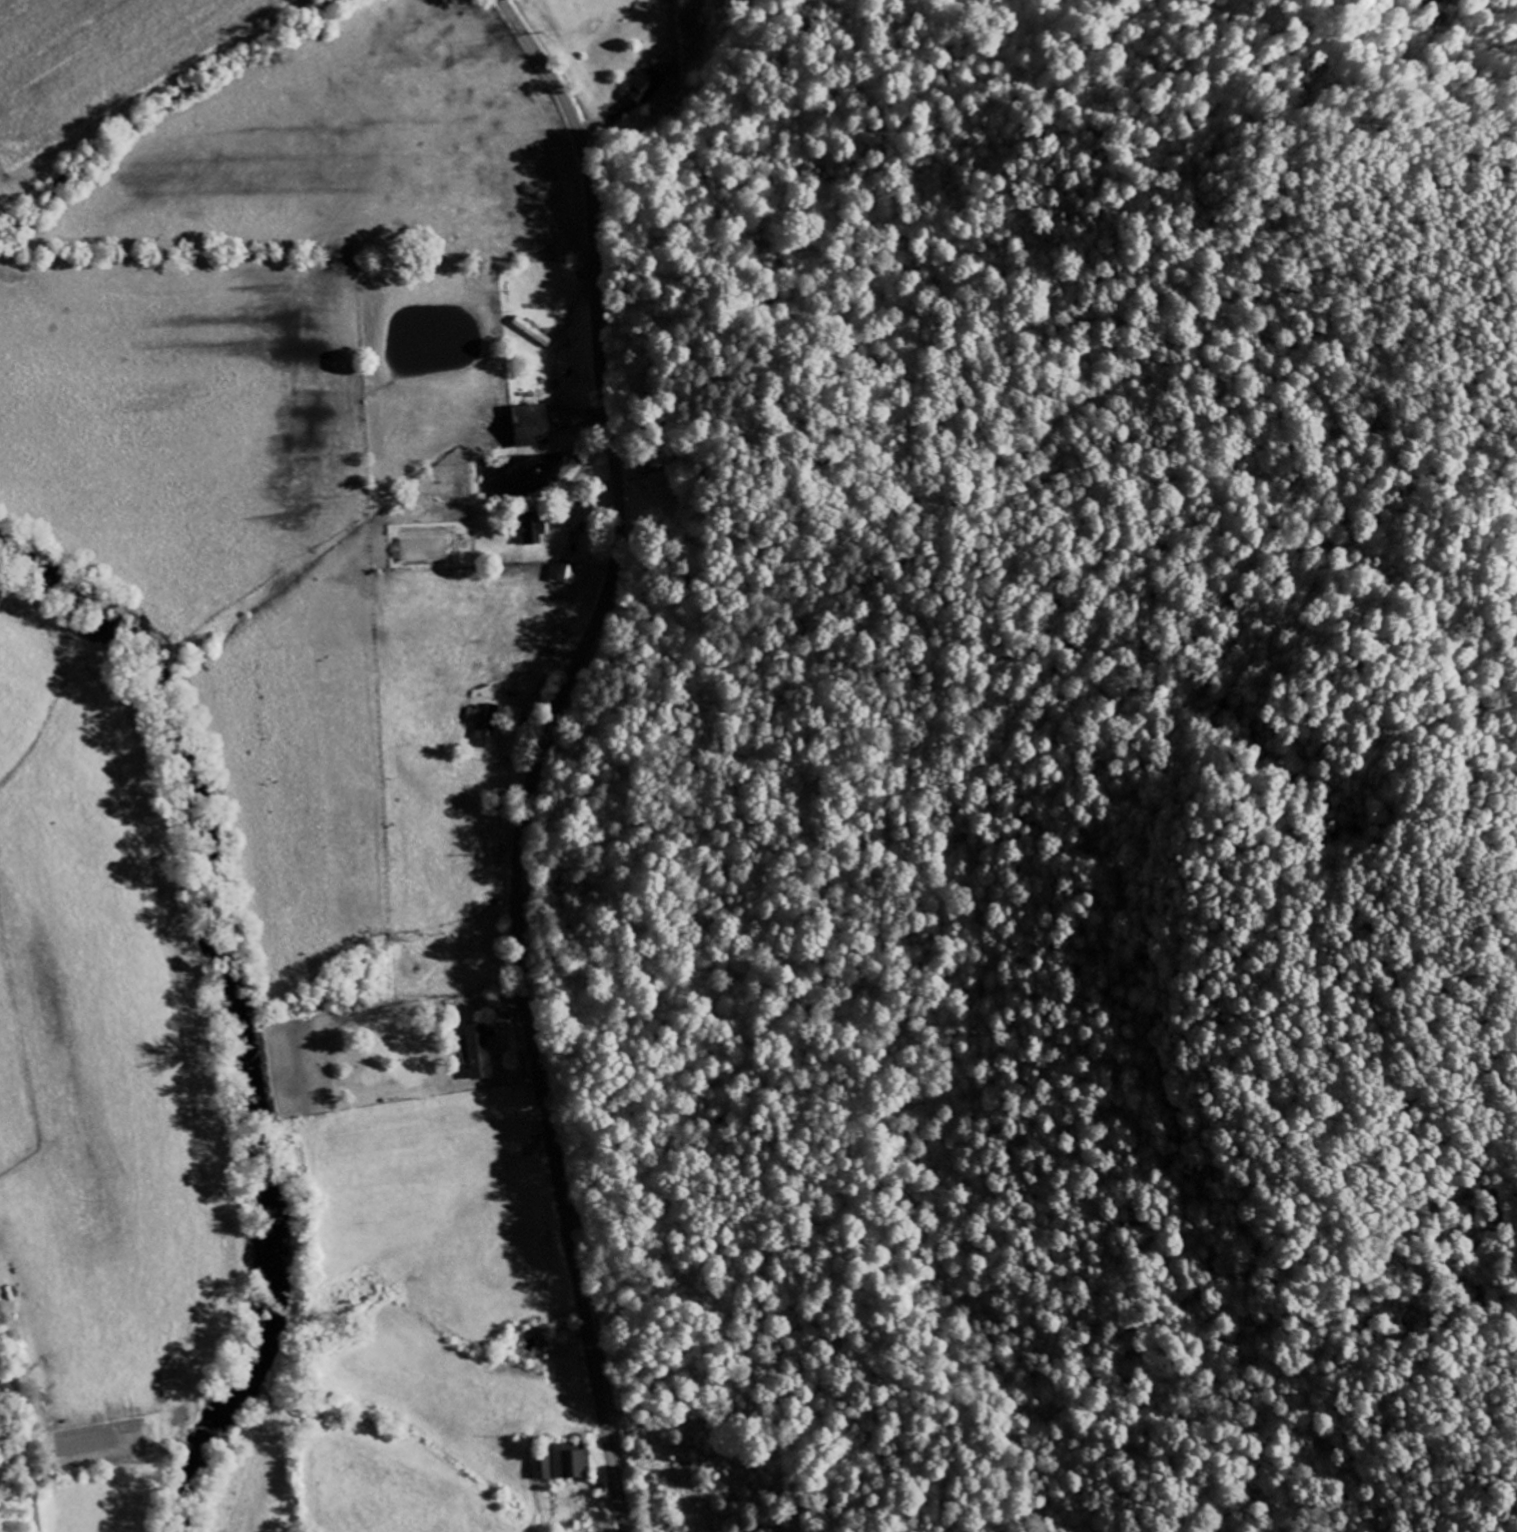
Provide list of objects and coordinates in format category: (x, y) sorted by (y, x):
building: (647, 86)
building: (534, 425)
building: (534, 533)
building: (563, 572)
building: (475, 716)
building: (489, 728)
road: (541, 753)
building: (479, 1052)
road: (26, 1429)

